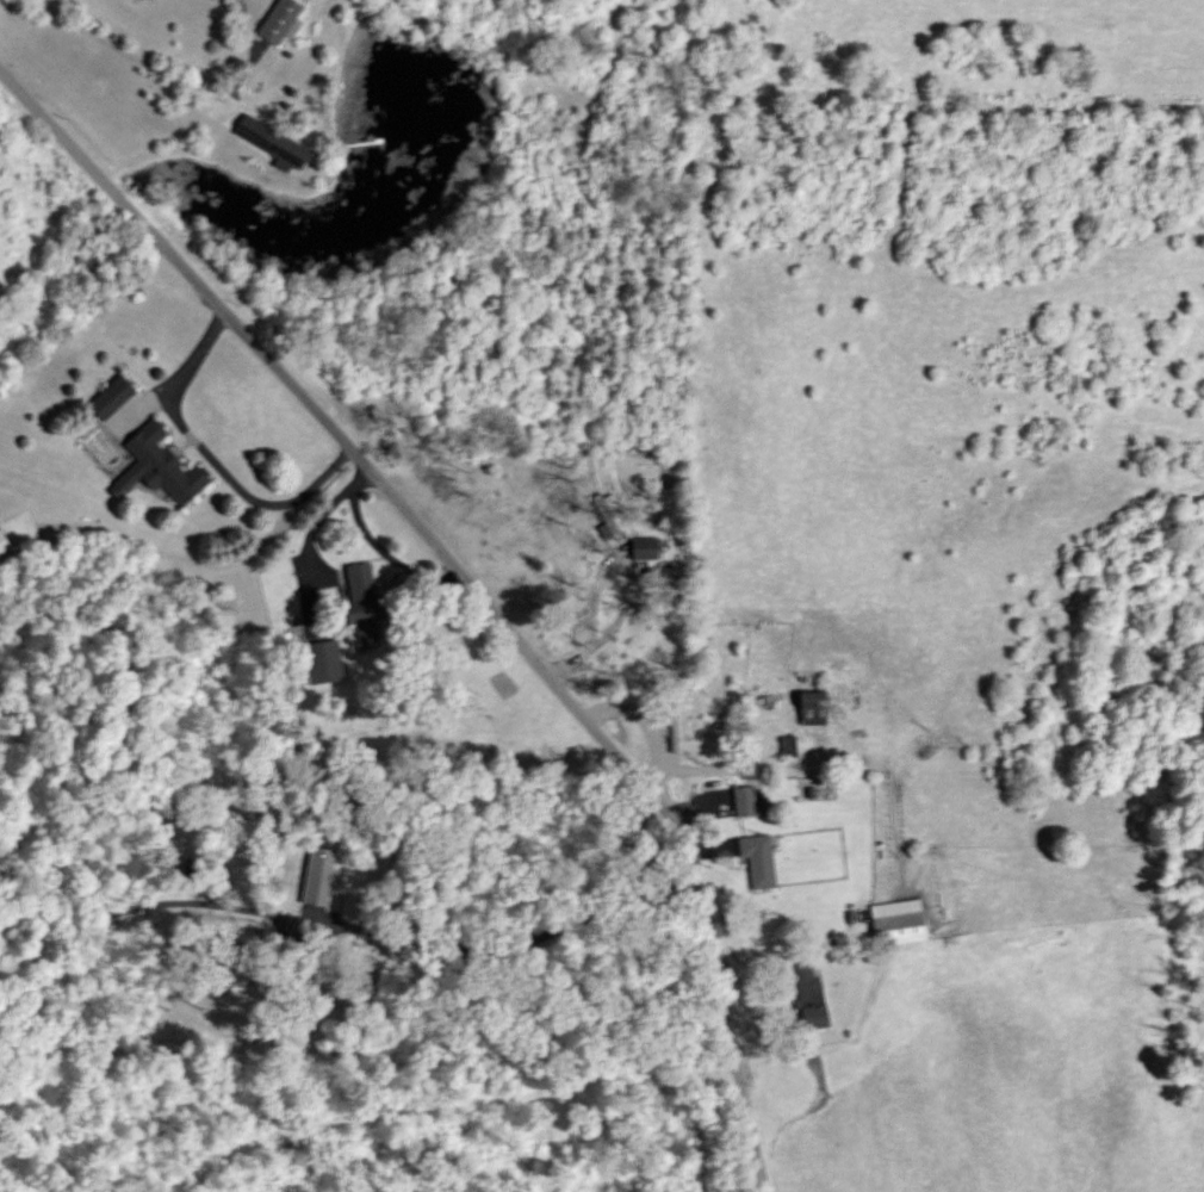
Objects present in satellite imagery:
building: (279, 20)
road: (174, 76)
building: (281, 147)
building: (110, 398)
road: (187, 428)
building: (157, 468)
building: (2, 545)
building: (644, 550)
road: (216, 555)
road: (468, 585)
building: (364, 604)
road: (592, 625)
building: (322, 662)
building: (813, 709)
building: (675, 722)
building: (749, 802)
building: (758, 861)
building: (319, 879)
building: (898, 921)
road: (509, 945)
building: (809, 998)

